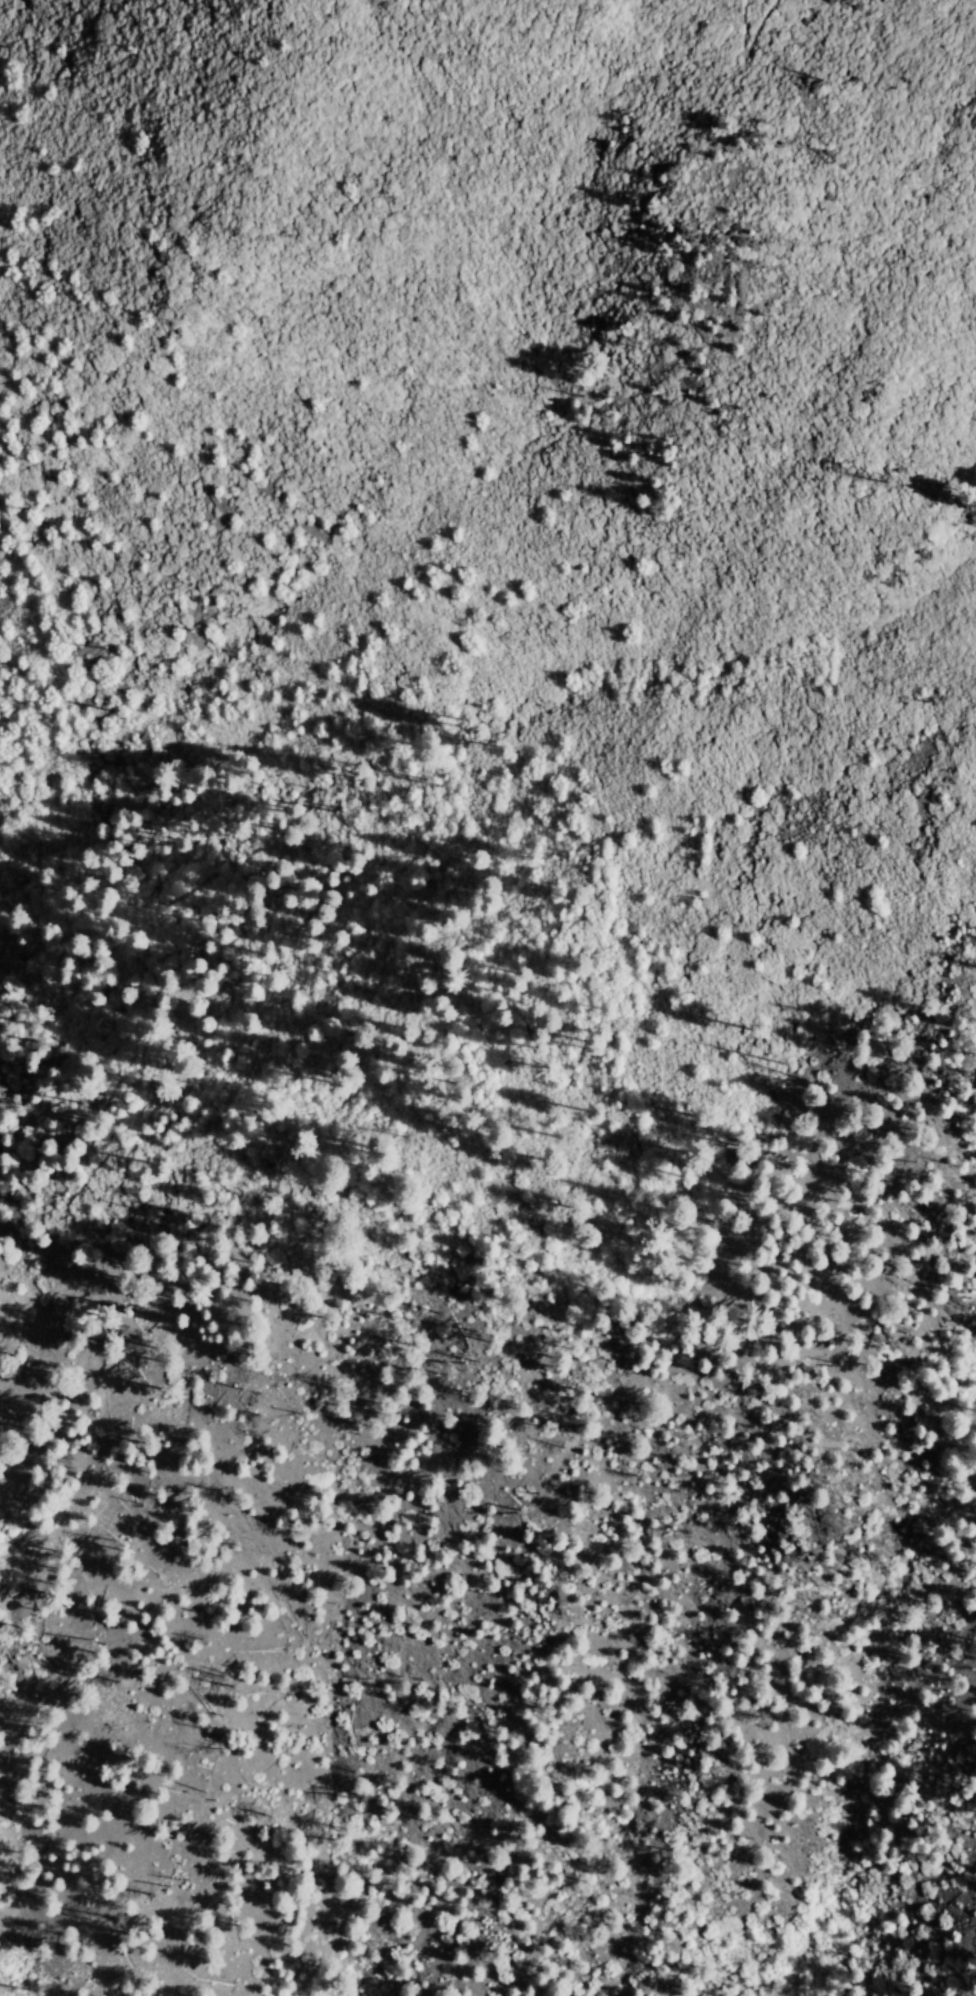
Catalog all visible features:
road: (742, 46)

